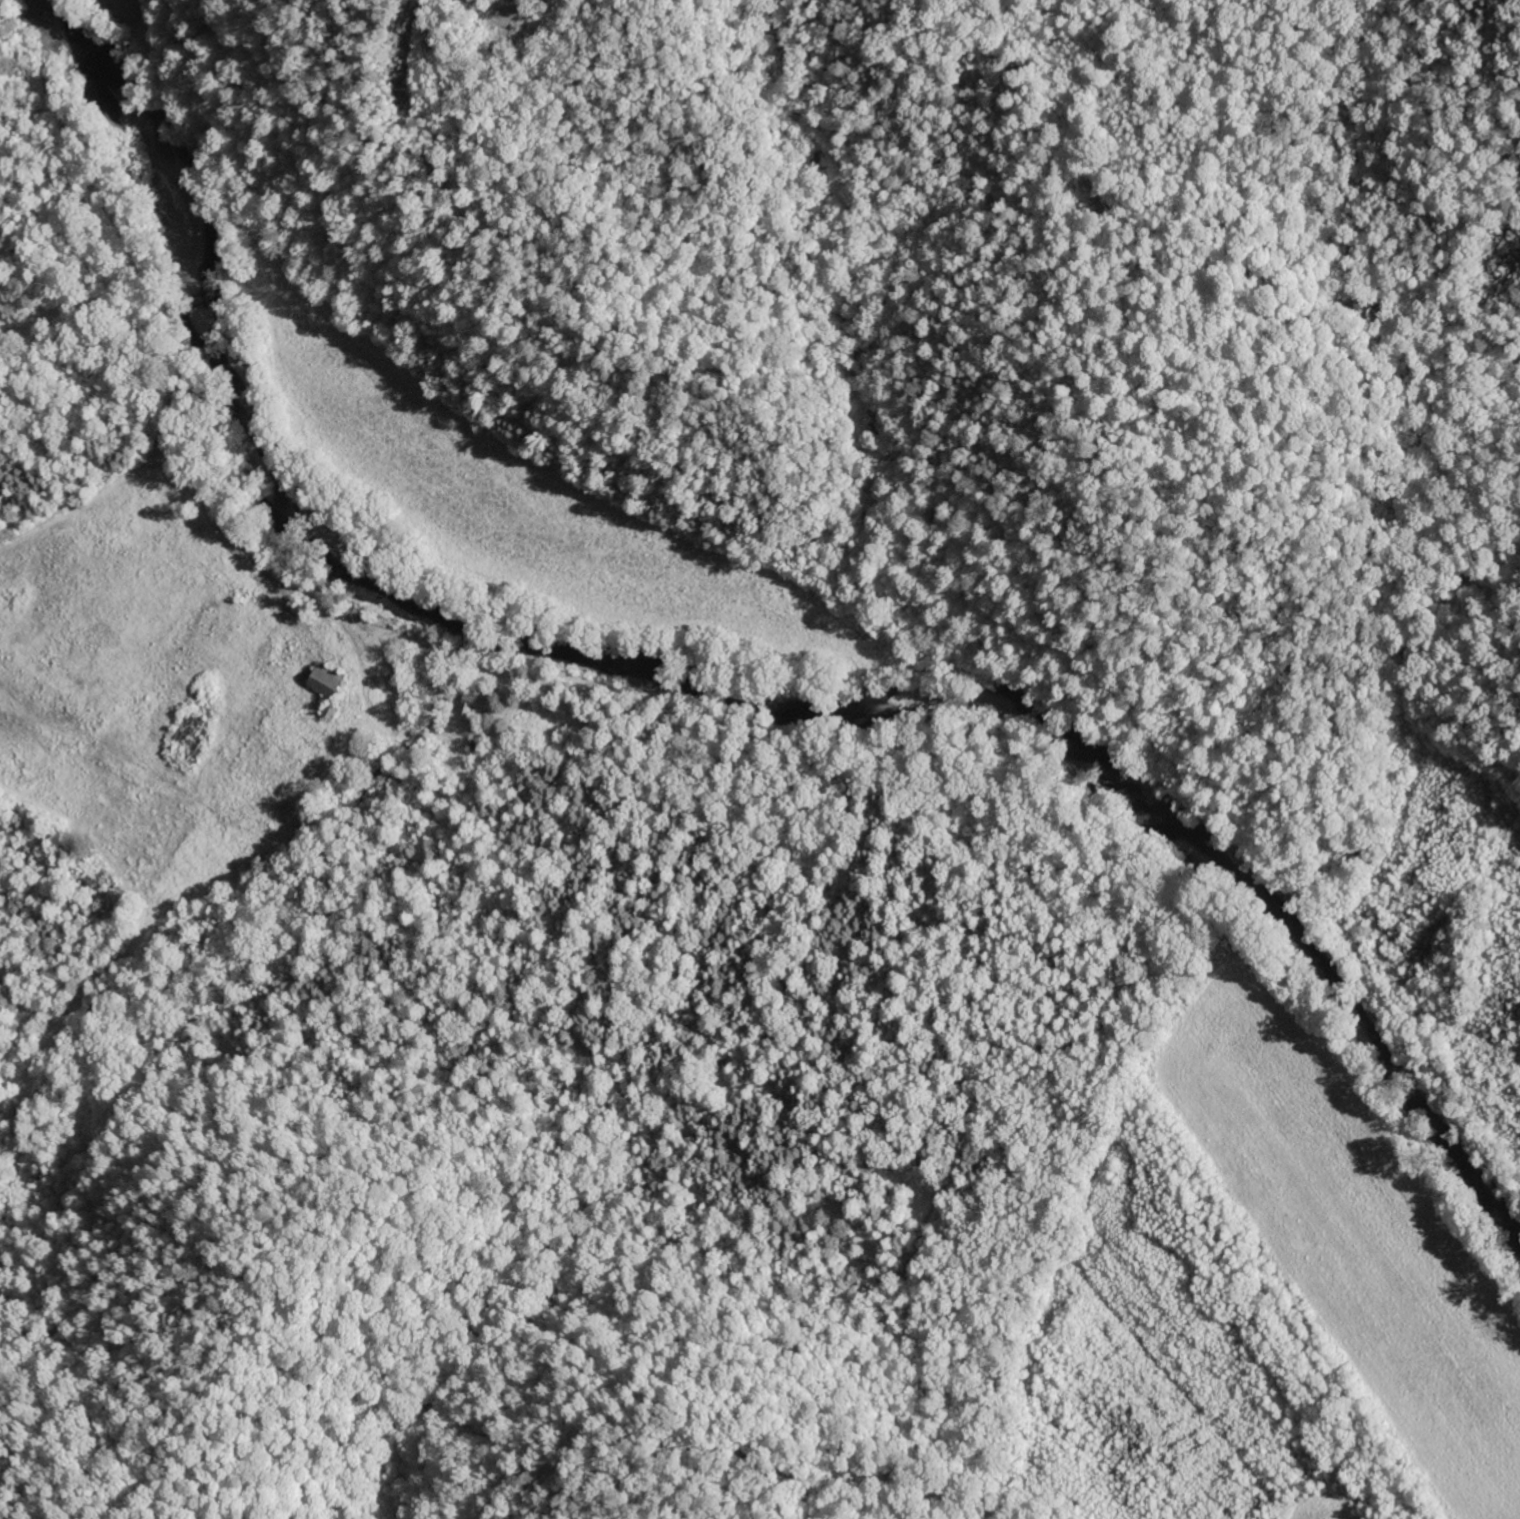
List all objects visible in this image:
road: (725, 628)
building: (320, 682)
building: (469, 712)

